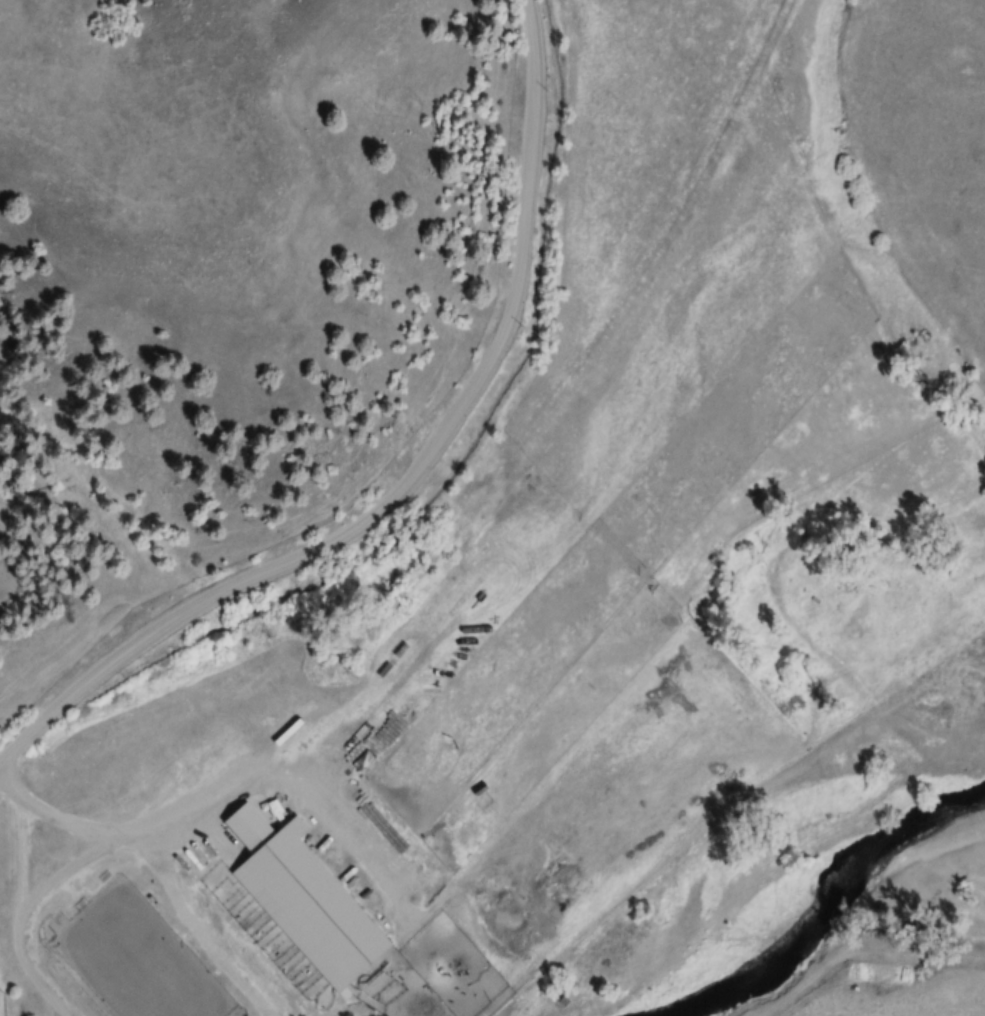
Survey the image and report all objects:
road: (403, 472)
river: (819, 900)
building: (313, 907)

